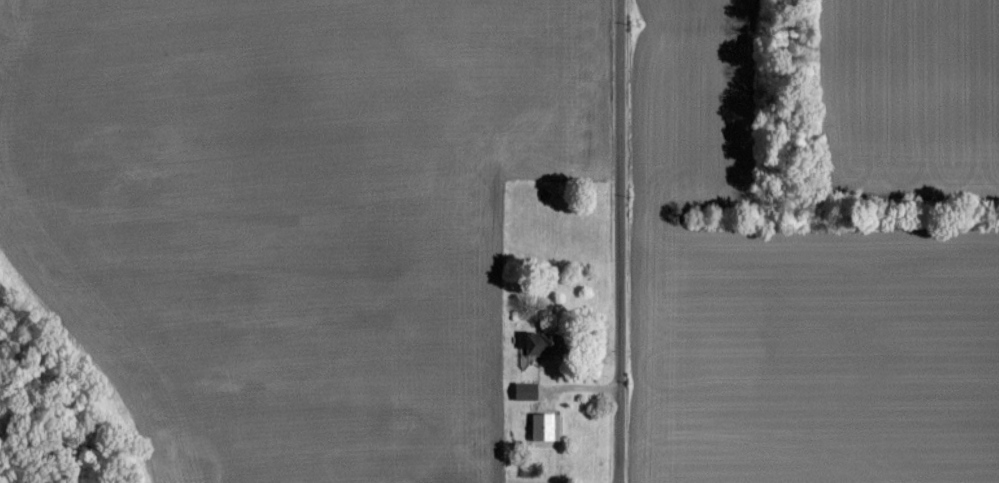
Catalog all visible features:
road: (612, 241)
building: (548, 342)
building: (527, 390)
building: (547, 424)

